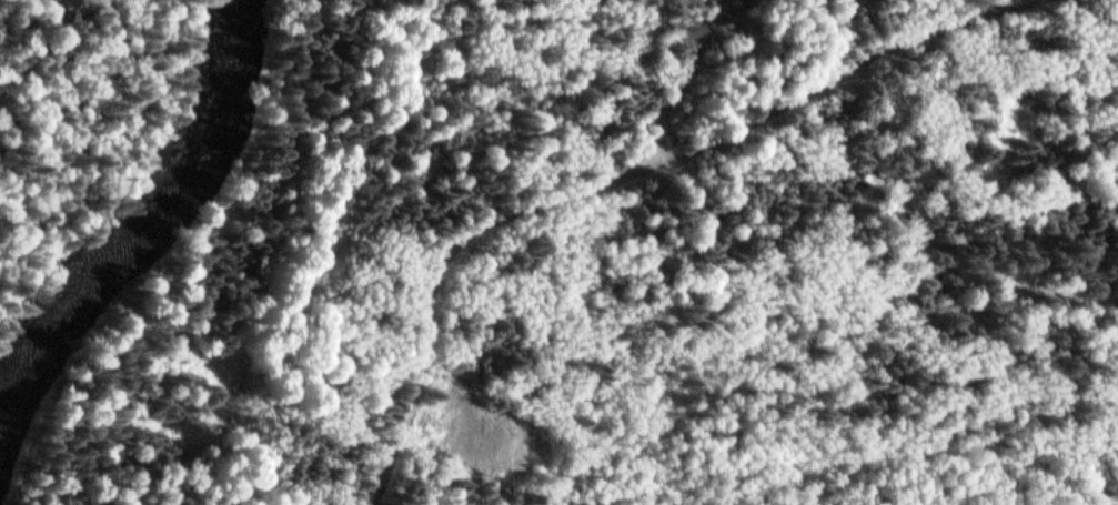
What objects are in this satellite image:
river: (148, 214)

